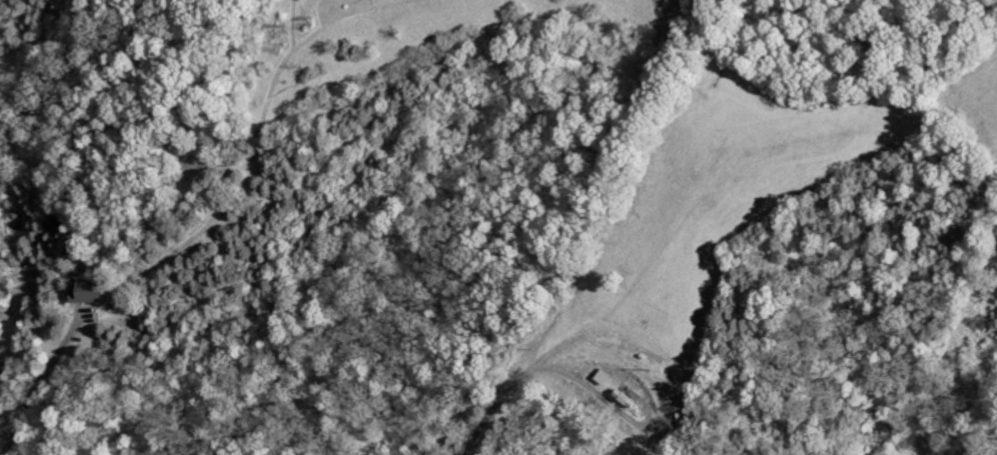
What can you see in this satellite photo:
building: (90, 292)
building: (603, 377)
road: (520, 388)
road: (32, 390)

